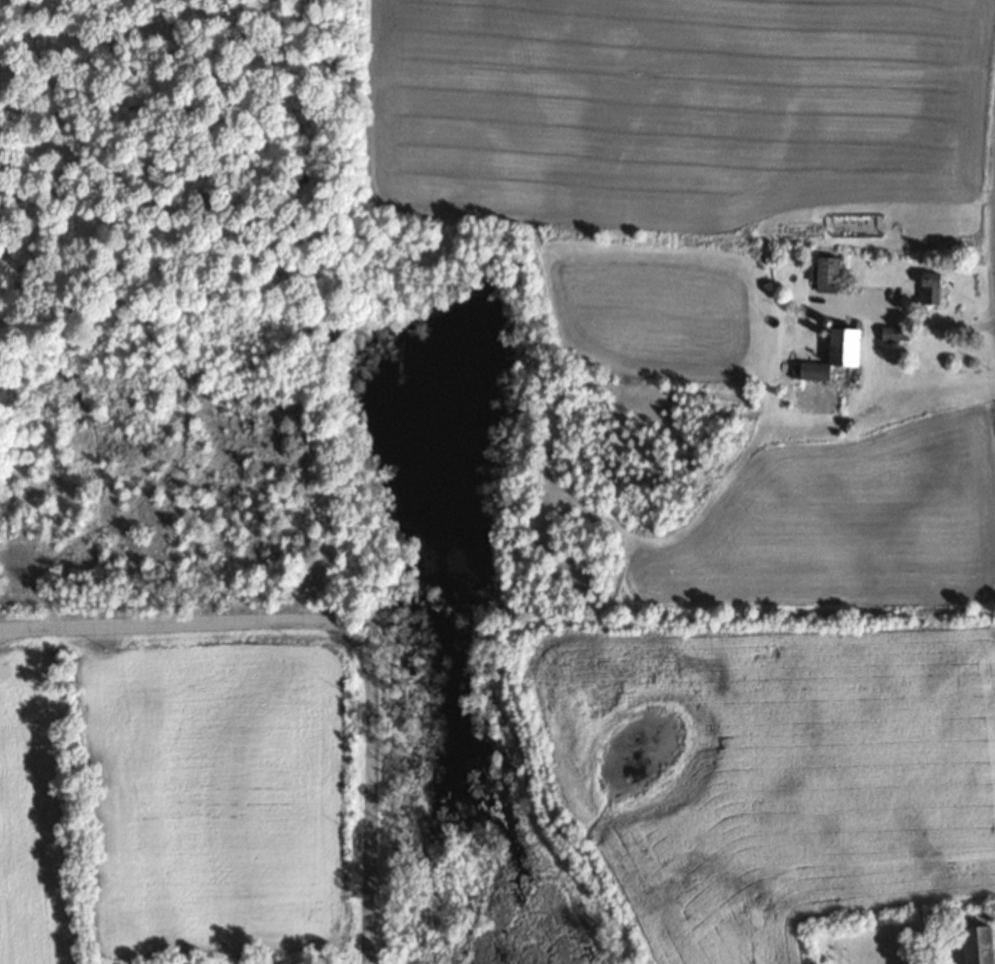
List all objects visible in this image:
road: (994, 221)
building: (825, 270)
building: (926, 289)
building: (826, 356)
road: (341, 630)
building: (976, 944)

